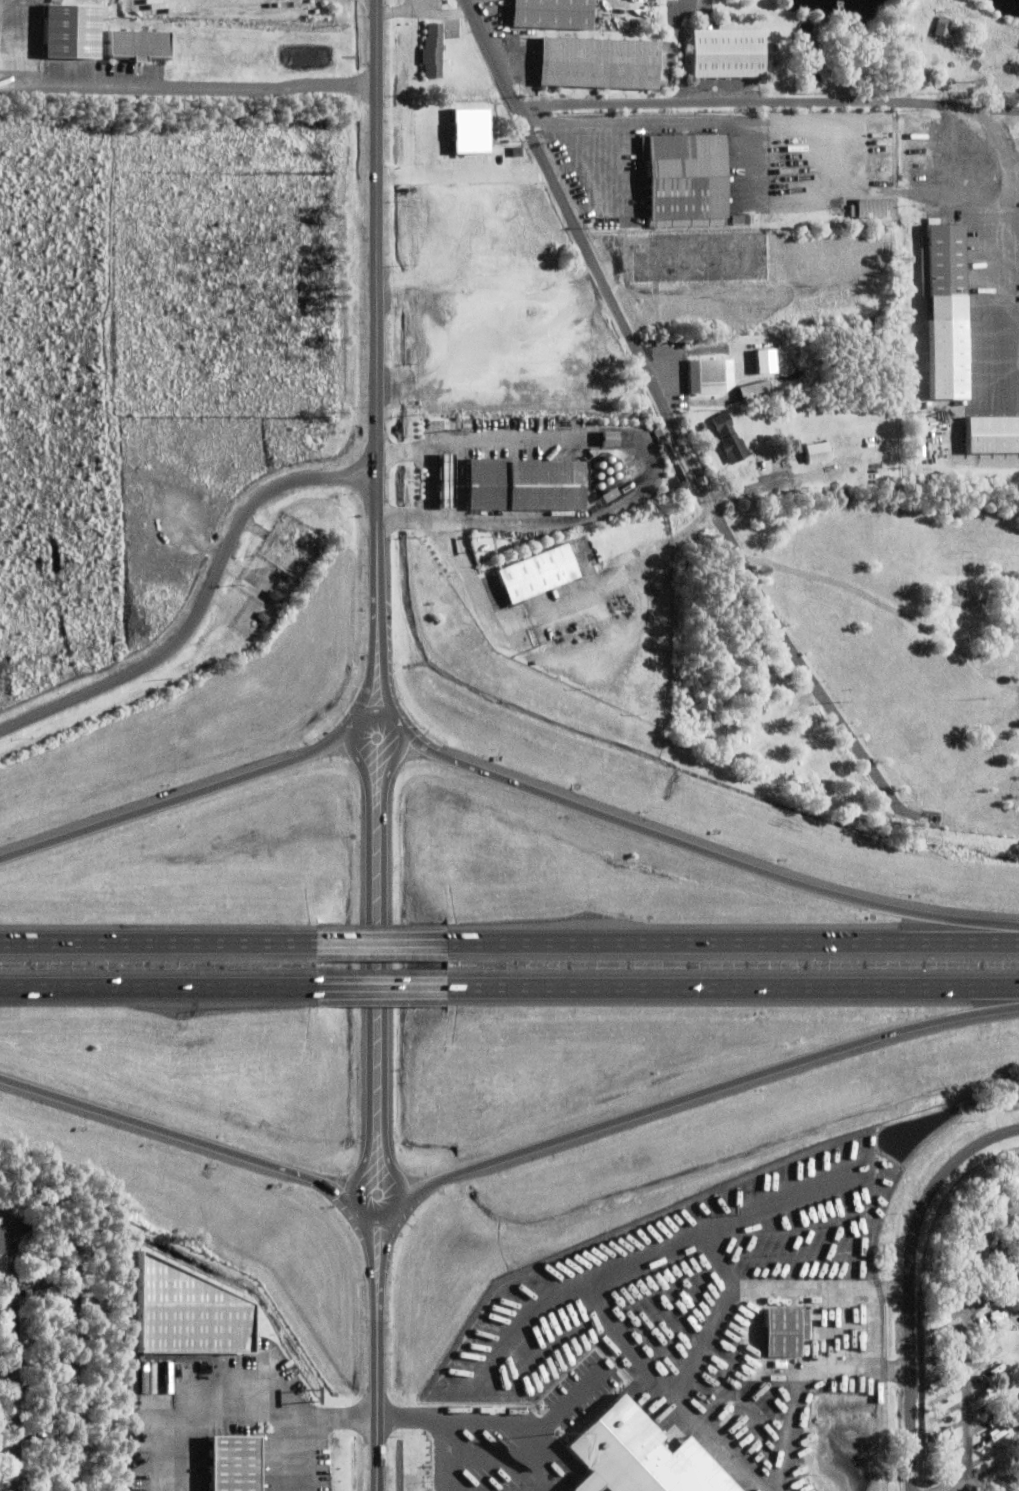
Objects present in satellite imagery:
building: (728, 12)
building: (551, 14)
building: (943, 27)
building: (885, 34)
building: (839, 42)
building: (133, 44)
building: (968, 50)
building: (432, 51)
building: (726, 52)
building: (598, 64)
building: (854, 73)
road: (188, 87)
road: (716, 101)
road: (677, 126)
building: (964, 152)
building: (685, 181)
building: (875, 209)
building: (915, 215)
road: (1009, 216)
building: (747, 220)
building: (703, 259)
building: (944, 261)
road: (378, 316)
building: (706, 341)
building: (704, 351)
building: (759, 361)
building: (706, 377)
building: (748, 391)
building: (702, 408)
road: (669, 415)
building: (988, 435)
building: (601, 438)
building: (729, 440)
road: (480, 441)
building: (817, 454)
building: (860, 465)
building: (763, 467)
building: (438, 480)
building: (524, 487)
building: (777, 495)
road: (584, 516)
building: (507, 533)
building: (537, 575)
building: (275, 598)
road: (202, 603)
road: (557, 603)
building: (972, 603)
building: (262, 618)
road: (387, 676)
road: (372, 678)
road: (182, 797)
road: (702, 850)
road: (151, 937)
road: (368, 937)
road: (726, 938)
road: (151, 990)
road: (369, 990)
road: (726, 990)
road: (703, 1091)
road: (184, 1135)
road: (364, 1166)
building: (1, 1239)
road: (385, 1241)
road: (372, 1242)
road: (7, 1283)
road: (911, 1283)
building: (178, 1312)
building: (807, 1325)
road: (965, 1341)
road: (79, 1346)
road: (15, 1354)
road: (8, 1370)
road: (379, 1384)
road: (565, 1408)
road: (310, 1423)
road: (483, 1424)
building: (630, 1456)
road: (472, 1463)
road: (444, 1477)
road: (989, 1482)

